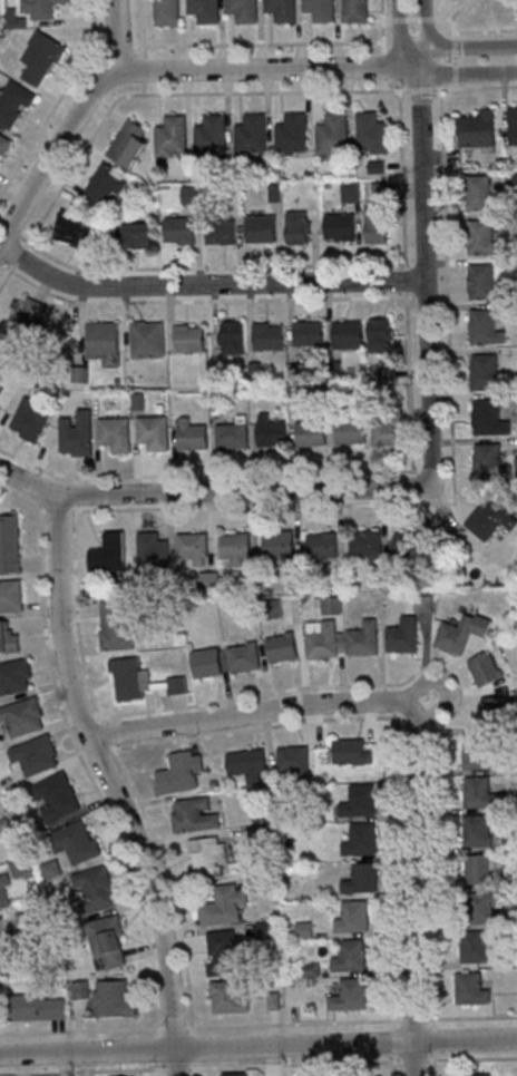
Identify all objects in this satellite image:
building: (41, 8)
building: (321, 9)
road: (462, 9)
building: (205, 10)
building: (243, 10)
building: (282, 10)
building: (355, 10)
building: (167, 11)
park: (477, 13)
road: (452, 19)
road: (485, 30)
road: (426, 32)
road: (400, 36)
road: (467, 46)
building: (41, 58)
road: (264, 66)
road: (468, 74)
building: (14, 104)
road: (71, 124)
building: (513, 127)
building: (477, 129)
building: (211, 133)
building: (372, 134)
building: (251, 135)
building: (292, 135)
building: (333, 135)
building: (172, 137)
building: (129, 143)
building: (3, 146)
building: (104, 187)
building: (351, 192)
building: (479, 193)
building: (340, 227)
building: (377, 227)
building: (76, 229)
building: (261, 229)
building: (179, 231)
building: (221, 232)
building: (299, 233)
building: (138, 237)
building: (482, 238)
road: (425, 277)
building: (481, 281)
road: (207, 283)
building: (26, 323)
building: (485, 327)
building: (309, 334)
building: (348, 335)
building: (380, 335)
building: (232, 336)
building: (269, 336)
building: (189, 338)
building: (148, 339)
building: (104, 342)
building: (486, 371)
building: (1, 391)
building: (489, 418)
building: (31, 419)
building: (389, 430)
building: (350, 431)
building: (154, 432)
building: (311, 432)
building: (76, 433)
building: (116, 433)
building: (233, 434)
building: (272, 434)
building: (191, 436)
building: (488, 456)
road: (212, 492)
building: (490, 520)
building: (413, 542)
building: (10, 544)
building: (365, 544)
building: (280, 545)
building: (193, 546)
building: (322, 546)
building: (235, 548)
building: (153, 551)
building: (109, 555)
building: (11, 595)
building: (115, 625)
building: (461, 634)
building: (403, 635)
building: (322, 638)
building: (364, 638)
building: (9, 639)
building: (282, 647)
building: (243, 658)
building: (206, 663)
building: (486, 669)
building: (14, 677)
building: (130, 679)
building: (178, 685)
road: (443, 687)
building: (495, 711)
building: (23, 717)
road: (417, 727)
building: (350, 752)
building: (477, 754)
building: (36, 755)
building: (293, 761)
building: (247, 765)
building: (181, 774)
road: (114, 785)
building: (482, 793)
building: (58, 798)
building: (360, 801)
building: (195, 816)
building: (477, 831)
building: (362, 840)
building: (77, 842)
building: (208, 854)
building: (479, 870)
building: (51, 871)
building: (362, 878)
building: (96, 888)
building: (4, 893)
building: (226, 906)
building: (485, 913)
building: (353, 917)
building: (304, 929)
building: (12, 941)
building: (108, 943)
building: (475, 948)
building: (227, 953)
building: (350, 956)
building: (310, 969)
building: (471, 989)
building: (350, 995)
building: (231, 996)
building: (107, 998)
building: (39, 1007)
road: (258, 1025)
road: (257, 1044)
road: (471, 1058)
road: (413, 1059)
road: (436, 1063)
road: (295, 1064)
road: (394, 1064)
building: (237, 1074)
building: (475, 1074)

